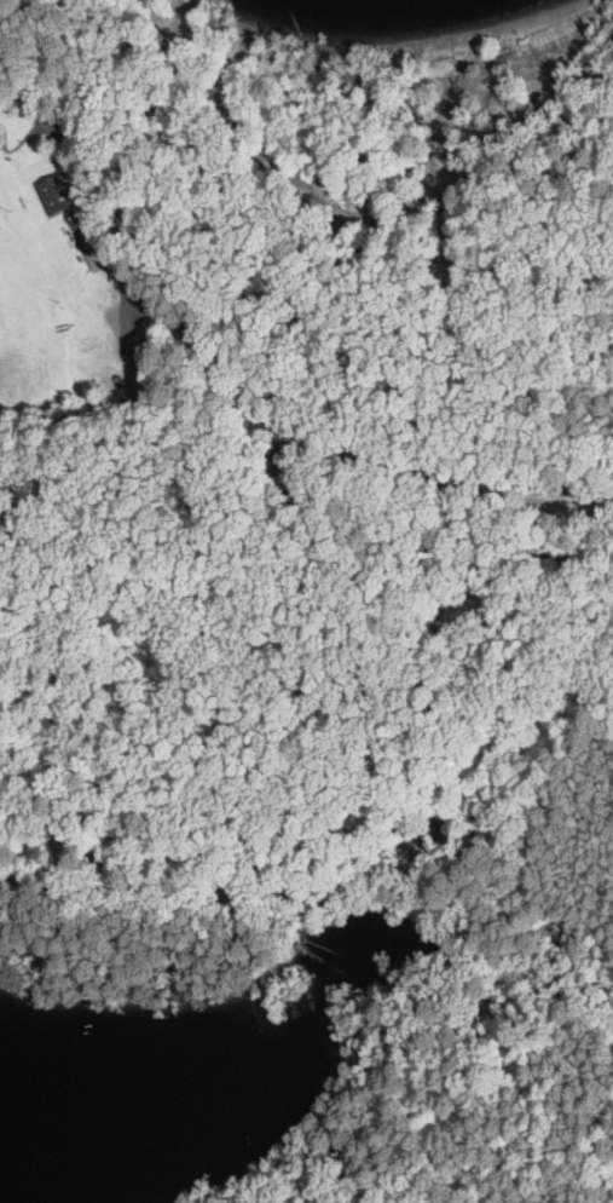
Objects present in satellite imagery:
building: (56, 192)
road: (341, 212)
road: (399, 341)
road: (213, 356)
road: (100, 408)
park: (316, 568)
road: (134, 697)
road: (329, 796)

